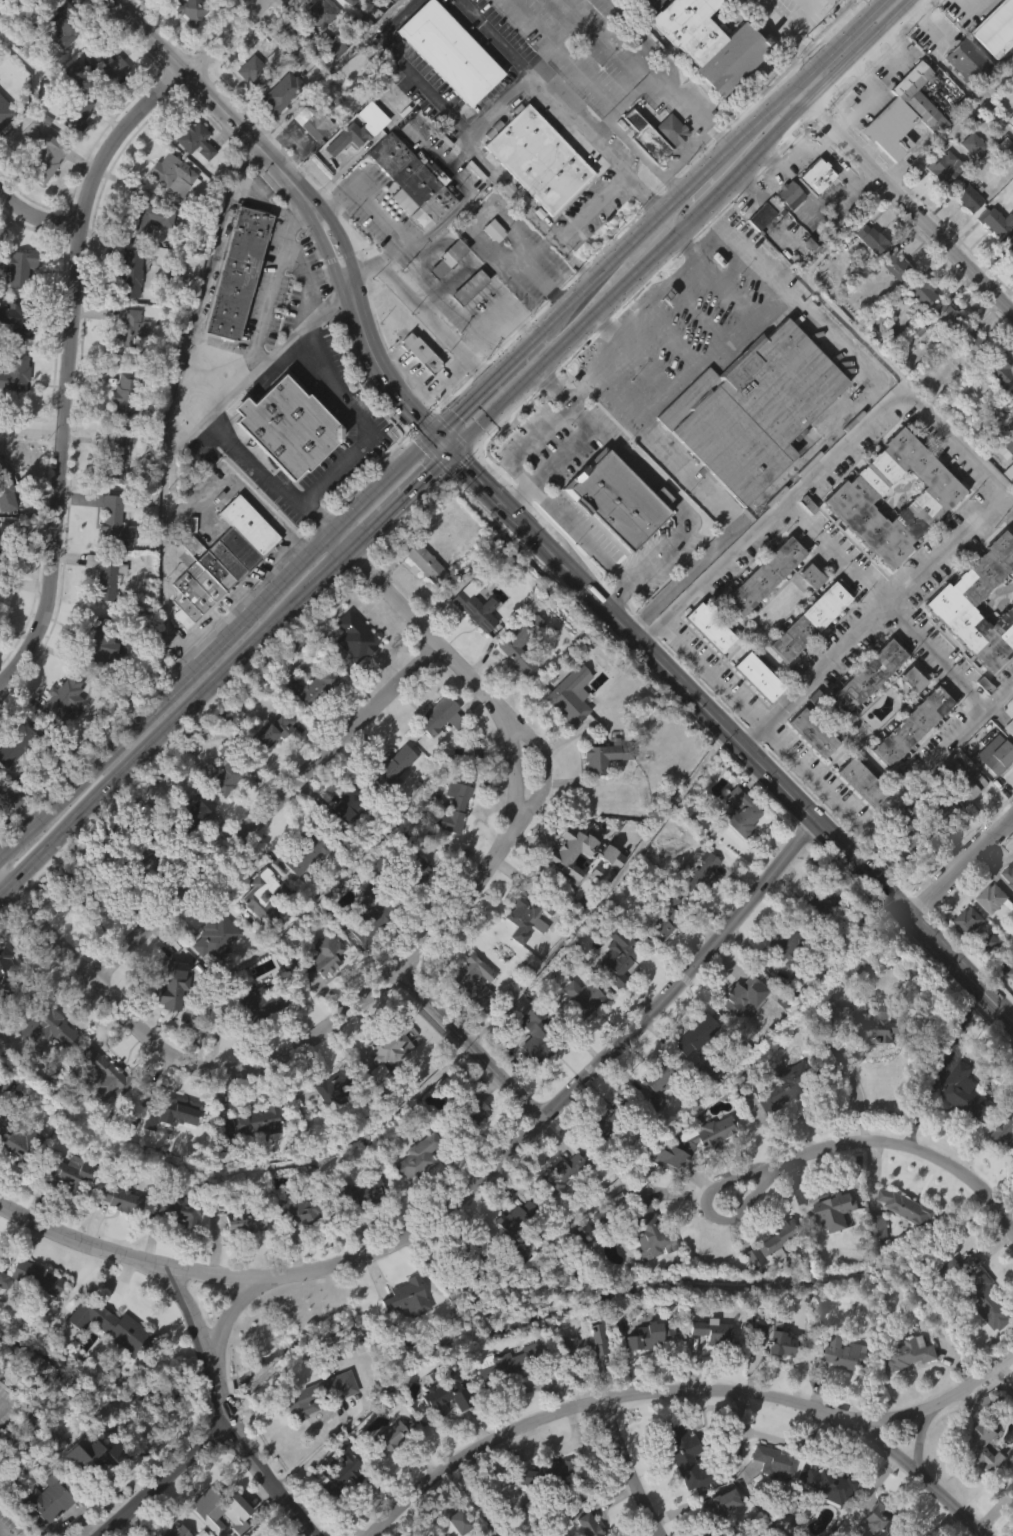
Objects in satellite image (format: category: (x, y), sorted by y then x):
building: (37, 0)
building: (379, 1)
building: (346, 2)
road: (900, 2)
road: (905, 2)
building: (189, 10)
building: (318, 12)
building: (167, 13)
building: (221, 17)
building: (630, 20)
building: (31, 21)
building: (62, 22)
road: (922, 22)
building: (389, 27)
building: (996, 27)
road: (794, 30)
road: (493, 37)
building: (702, 40)
road: (833, 44)
building: (188, 45)
building: (318, 47)
building: (448, 51)
road: (854, 54)
road: (893, 58)
road: (637, 59)
building: (59, 60)
building: (294, 60)
building: (965, 60)
building: (992, 60)
road: (410, 65)
building: (107, 66)
building: (249, 69)
building: (704, 69)
building: (1009, 70)
road: (997, 81)
building: (445, 87)
building: (279, 91)
road: (867, 96)
building: (963, 96)
road: (798, 97)
building: (103, 101)
road: (496, 105)
building: (248, 106)
road: (997, 112)
building: (901, 113)
building: (77, 114)
building: (3, 116)
building: (311, 120)
building: (277, 127)
building: (357, 128)
building: (652, 134)
road: (720, 135)
building: (194, 140)
building: (971, 144)
building: (4, 146)
building: (898, 149)
building: (72, 151)
building: (50, 157)
building: (307, 157)
road: (673, 158)
building: (534, 159)
building: (1011, 161)
building: (667, 165)
building: (945, 166)
road: (741, 167)
building: (172, 173)
building: (641, 173)
building: (816, 175)
building: (411, 176)
building: (332, 179)
building: (967, 179)
building: (43, 192)
road: (884, 193)
building: (534, 194)
building: (789, 194)
building: (967, 194)
road: (305, 196)
road: (691, 197)
road: (462, 200)
building: (940, 202)
road: (909, 208)
building: (169, 209)
road: (593, 210)
building: (812, 211)
road: (666, 212)
road: (376, 213)
building: (409, 214)
road: (37, 215)
building: (143, 219)
building: (993, 221)
building: (785, 229)
building: (961, 231)
building: (489, 232)
building: (871, 239)
building: (1008, 245)
road: (746, 246)
building: (760, 249)
building: (144, 254)
building: (989, 254)
road: (210, 265)
building: (489, 265)
building: (20, 266)
road: (529, 267)
building: (890, 268)
building: (237, 271)
building: (129, 272)
building: (865, 273)
road: (303, 278)
building: (1007, 279)
building: (919, 291)
building: (442, 294)
building: (893, 303)
road: (421, 309)
road: (74, 313)
building: (17, 317)
road: (629, 317)
building: (946, 317)
building: (464, 322)
building: (126, 328)
road: (299, 328)
building: (917, 328)
road: (565, 343)
building: (974, 344)
building: (941, 350)
building: (417, 354)
building: (126, 363)
building: (17, 368)
building: (999, 369)
road: (449, 372)
building: (965, 375)
road: (419, 376)
road: (484, 382)
road: (554, 386)
building: (416, 387)
road: (413, 391)
building: (1010, 391)
road: (170, 396)
building: (124, 397)
building: (994, 406)
building: (749, 410)
building: (10, 413)
building: (287, 425)
building: (1009, 425)
road: (32, 428)
building: (119, 431)
traffic signals: (431, 434)
road: (188, 436)
road: (528, 442)
road: (440, 443)
road: (613, 445)
building: (1002, 449)
traffic signals: (450, 453)
road: (562, 454)
building: (112, 459)
building: (283, 461)
road: (328, 471)
road: (477, 480)
building: (1004, 481)
road: (414, 487)
building: (5, 489)
road: (665, 493)
building: (854, 494)
road: (518, 496)
building: (618, 497)
road: (786, 497)
road: (721, 504)
building: (1006, 506)
road: (313, 521)
building: (111, 522)
road: (578, 532)
building: (611, 533)
road: (665, 541)
building: (6, 543)
road: (347, 555)
building: (110, 556)
building: (218, 559)
building: (420, 560)
road: (709, 572)
building: (760, 573)
building: (807, 574)
building: (101, 575)
road: (612, 592)
building: (218, 595)
building: (419, 596)
building: (955, 598)
building: (1012, 601)
building: (473, 602)
building: (101, 610)
building: (760, 610)
road: (875, 611)
building: (2, 612)
building: (805, 619)
building: (709, 627)
building: (354, 635)
building: (306, 640)
building: (471, 640)
building: (98, 641)
building: (519, 644)
road: (216, 645)
building: (528, 656)
building: (804, 656)
building: (704, 661)
road: (659, 665)
building: (90, 672)
building: (352, 674)
building: (758, 676)
building: (862, 680)
building: (310, 687)
building: (512, 687)
building: (570, 695)
building: (65, 699)
building: (753, 711)
building: (861, 713)
building: (437, 715)
building: (309, 722)
building: (912, 724)
building: (1009, 727)
building: (269, 730)
building: (566, 731)
building: (814, 732)
road: (511, 738)
building: (54, 742)
road: (157, 742)
building: (17, 745)
building: (435, 750)
building: (606, 754)
building: (995, 754)
building: (907, 760)
road: (927, 761)
building: (270, 765)
road: (545, 765)
building: (808, 767)
building: (387, 768)
building: (227, 769)
building: (860, 780)
road: (588, 781)
building: (991, 789)
building: (601, 790)
building: (0, 791)
building: (965, 792)
building: (391, 800)
building: (343, 808)
building: (449, 808)
road: (266, 811)
building: (738, 811)
building: (223, 812)
building: (185, 815)
building: (857, 816)
building: (934, 818)
building: (963, 824)
building: (8, 833)
building: (341, 842)
building: (447, 843)
building: (193, 845)
building: (737, 846)
building: (904, 847)
building: (302, 850)
building: (579, 855)
building: (135, 856)
road: (962, 867)
building: (701, 872)
building: (408, 875)
building: (1008, 875)
building: (556, 888)
building: (299, 890)
building: (84, 893)
road: (604, 893)
building: (260, 894)
building: (818, 895)
building: (992, 898)
building: (414, 905)
building: (699, 908)
building: (1007, 910)
building: (527, 914)
building: (664, 915)
building: (368, 920)
road: (914, 920)
building: (968, 920)
building: (988, 932)
building: (258, 934)
building: (212, 935)
building: (813, 935)
building: (785, 946)
building: (518, 954)
building: (322, 955)
building: (364, 955)
building: (965, 955)
building: (652, 961)
building: (210, 972)
building: (865, 972)
building: (1010, 973)
building: (987, 977)
building: (779, 980)
building: (7, 981)
building: (457, 982)
building: (171, 985)
building: (615, 989)
building: (318, 991)
building: (738, 995)
building: (582, 999)
building: (759, 1000)
building: (254, 1001)
building: (859, 1006)
building: (1009, 1008)
building: (468, 1015)
building: (169, 1019)
building: (1012, 1027)
building: (739, 1029)
building: (872, 1029)
building: (578, 1033)
building: (698, 1033)
building: (253, 1036)
building: (537, 1037)
road: (470, 1045)
building: (388, 1047)
road: (181, 1057)
building: (42, 1060)
building: (862, 1060)
building: (531, 1069)
building: (691, 1069)
building: (109, 1077)
building: (655, 1081)
building: (336, 1082)
building: (739, 1084)
building: (382, 1085)
building: (783, 1085)
road: (855, 1088)
building: (968, 1093)
building: (99, 1109)
building: (654, 1110)
building: (174, 1112)
building: (467, 1115)
building: (3, 1117)
building: (608, 1120)
building: (252, 1121)
building: (327, 1123)
building: (773, 1125)
building: (962, 1128)
building: (707, 1132)
building: (1004, 1134)
building: (651, 1137)
road: (523, 1138)
building: (21, 1141)
road: (900, 1142)
building: (470, 1144)
building: (222, 1147)
building: (165, 1149)
building: (671, 1155)
building: (244, 1159)
building: (1003, 1170)
building: (560, 1172)
building: (65, 1174)
building: (16, 1175)
building: (691, 1175)
road: (717, 1188)
building: (413, 1192)
building: (355, 1194)
building: (118, 1198)
building: (560, 1205)
building: (64, 1207)
building: (905, 1207)
building: (178, 1210)
building: (293, 1210)
building: (838, 1210)
building: (515, 1218)
building: (240, 1220)
building: (353, 1227)
building: (877, 1227)
building: (116, 1232)
building: (648, 1233)
building: (768, 1243)
building: (292, 1245)
building: (832, 1245)
building: (176, 1246)
building: (514, 1249)
building: (239, 1255)
building: (874, 1260)
building: (470, 1265)
building: (646, 1265)
building: (578, 1266)
building: (773, 1272)
building: (39, 1277)
building: (747, 1291)
building: (405, 1294)
building: (979, 1295)
building: (947, 1303)
road: (237, 1306)
building: (31, 1312)
building: (113, 1326)
road: (198, 1326)
building: (712, 1330)
building: (403, 1332)
building: (984, 1335)
building: (646, 1336)
building: (780, 1338)
building: (585, 1339)
building: (841, 1354)
building: (909, 1354)
building: (105, 1359)
building: (506, 1365)
building: (707, 1366)
building: (645, 1370)
building: (770, 1372)
building: (582, 1376)
building: (837, 1387)
building: (906, 1389)
road: (680, 1390)
building: (321, 1391)
building: (444, 1395)
building: (504, 1397)
building: (314, 1428)
building: (441, 1430)
building: (390, 1437)
road: (921, 1440)
building: (677, 1446)
building: (983, 1448)
building: (96, 1457)
building: (773, 1459)
road: (629, 1469)
building: (384, 1470)
road: (912, 1471)
building: (546, 1472)
building: (340, 1473)
road: (165, 1478)
building: (980, 1481)
building: (827, 1484)
building: (93, 1487)
building: (681, 1490)
building: (1010, 1491)
building: (769, 1495)
building: (792, 1501)
road: (469, 1502)
building: (46, 1504)
building: (334, 1506)
building: (542, 1507)
building: (218, 1509)
building: (711, 1516)
building: (823, 1519)
building: (876, 1520)
building: (1009, 1523)
building: (586, 1525)
building: (44, 1527)
building: (762, 1528)
building: (203, 1530)
building: (172, 1531)
building: (229, 1532)

